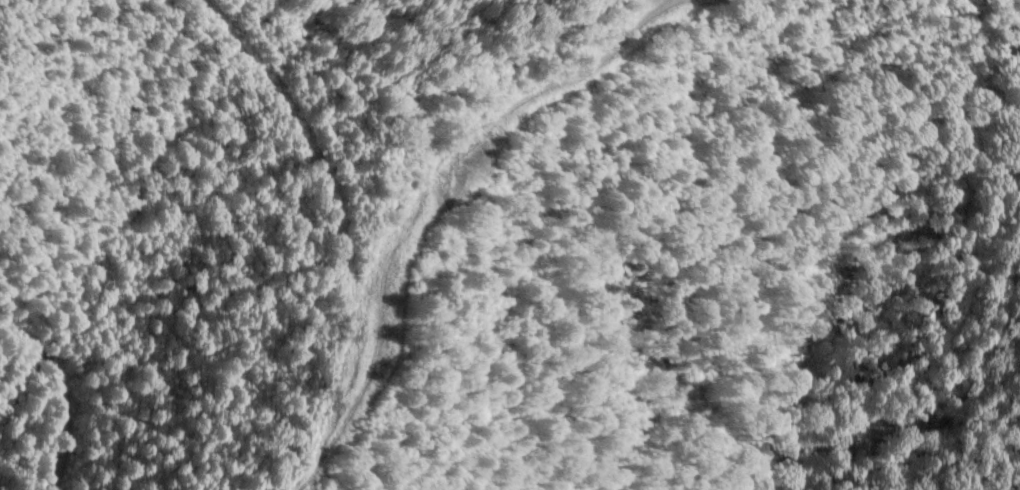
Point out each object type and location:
road: (424, 197)
road: (62, 392)

